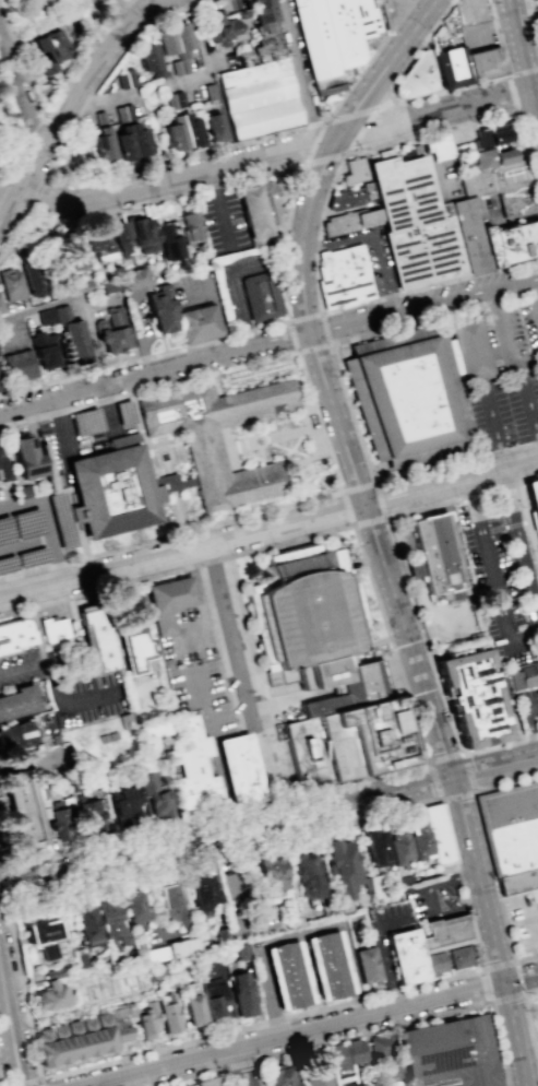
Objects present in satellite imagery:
road: (131, 3)
road: (524, 4)
road: (130, 10)
building: (394, 10)
parking lot: (537, 15)
road: (530, 20)
building: (267, 21)
building: (223, 26)
road: (493, 35)
parking lot: (477, 36)
building: (333, 38)
building: (175, 39)
road: (109, 48)
building: (48, 49)
road: (530, 54)
road: (20, 55)
road: (523, 58)
building: (151, 59)
road: (369, 60)
building: (483, 63)
building: (452, 66)
building: (180, 67)
road: (299, 71)
building: (415, 76)
road: (510, 79)
building: (127, 80)
building: (211, 91)
road: (22, 93)
road: (431, 95)
building: (258, 97)
building: (176, 101)
road: (536, 102)
railway: (58, 109)
road: (537, 113)
road: (324, 120)
road: (313, 123)
building: (215, 127)
building: (183, 132)
building: (130, 134)
building: (491, 135)
building: (101, 138)
road: (349, 146)
building: (440, 147)
road: (271, 154)
road: (27, 155)
road: (69, 166)
building: (355, 170)
road: (431, 172)
road: (32, 173)
road: (454, 173)
road: (260, 174)
parking lot: (445, 181)
road: (37, 188)
building: (505, 189)
building: (352, 194)
road: (220, 208)
building: (261, 209)
road: (101, 212)
road: (324, 212)
parking lot: (488, 212)
parking lot: (222, 222)
building: (352, 222)
building: (416, 223)
building: (190, 225)
road: (505, 225)
building: (143, 235)
building: (471, 235)
road: (374, 239)
building: (121, 240)
building: (168, 241)
building: (513, 243)
building: (99, 245)
building: (74, 251)
parking lot: (371, 257)
road: (492, 257)
building: (345, 276)
building: (32, 278)
building: (136, 280)
parking lot: (240, 284)
building: (12, 285)
building: (85, 285)
parking lot: (196, 290)
road: (533, 293)
road: (534, 294)
road: (240, 296)
road: (83, 298)
building: (263, 299)
road: (219, 304)
road: (425, 305)
building: (2, 307)
building: (165, 311)
building: (46, 316)
parking lot: (141, 320)
building: (202, 323)
road: (501, 327)
road: (9, 331)
building: (113, 331)
parking lot: (13, 334)
building: (72, 334)
road: (139, 334)
parking lot: (513, 335)
road: (224, 337)
building: (471, 347)
building: (43, 349)
road: (296, 352)
road: (524, 362)
building: (19, 365)
road: (338, 369)
road: (155, 373)
road: (489, 392)
building: (406, 398)
road: (104, 406)
parking lot: (505, 410)
parking lot: (505, 413)
road: (61, 423)
parking lot: (87, 434)
road: (475, 434)
building: (220, 439)
road: (326, 445)
fountain: (263, 446)
road: (509, 448)
road: (163, 455)
building: (29, 461)
building: (4, 469)
building: (56, 480)
road: (451, 486)
building: (117, 492)
building: (533, 500)
road: (48, 524)
road: (354, 524)
road: (371, 529)
parking lot: (31, 530)
road: (519, 546)
road: (182, 554)
building: (438, 556)
road: (57, 559)
parking lot: (501, 577)
road: (492, 580)
road: (122, 592)
road: (411, 597)
building: (171, 602)
parking lot: (128, 607)
road: (204, 615)
building: (310, 616)
building: (56, 630)
building: (16, 637)
building: (101, 638)
parking lot: (190, 639)
road: (41, 648)
building: (136, 649)
parking lot: (242, 664)
parking lot: (240, 666)
parking lot: (21, 670)
building: (524, 676)
road: (404, 683)
building: (359, 685)
road: (242, 687)
parking lot: (202, 697)
building: (474, 697)
building: (17, 700)
parking lot: (92, 700)
road: (64, 701)
parking lot: (528, 708)
building: (153, 728)
road: (529, 728)
building: (14, 734)
building: (383, 734)
building: (338, 745)
road: (214, 751)
building: (307, 753)
road: (495, 766)
building: (243, 768)
building: (194, 769)
building: (151, 795)
road: (442, 800)
building: (123, 806)
building: (22, 808)
building: (89, 815)
building: (60, 823)
road: (227, 833)
building: (441, 836)
building: (513, 838)
building: (418, 840)
building: (397, 845)
building: (376, 848)
road: (490, 857)
building: (342, 866)
building: (270, 872)
building: (306, 873)
road: (5, 887)
building: (201, 890)
parking lot: (434, 897)
parking lot: (244, 899)
building: (170, 904)
road: (434, 904)
road: (526, 904)
building: (133, 909)
building: (110, 921)
building: (84, 922)
parking lot: (524, 923)
road: (262, 925)
parking lot: (394, 926)
building: (220, 934)
building: (449, 934)
building: (41, 936)
building: (240, 951)
road: (390, 954)
building: (408, 956)
building: (461, 958)
building: (367, 964)
building: (327, 965)
building: (438, 965)
building: (53, 972)
building: (287, 975)
building: (241, 992)
building: (55, 996)
building: (213, 1000)
road: (489, 1001)
road: (5, 1006)
building: (191, 1008)
building: (165, 1012)
road: (13, 1017)
building: (145, 1017)
road: (402, 1024)
road: (528, 1025)
railway: (10, 1029)
road: (315, 1029)
road: (535, 1043)
building: (380, 1046)
road: (5, 1052)
building: (449, 1053)
building: (348, 1058)
road: (239, 1063)
road: (242, 1067)
building: (388, 1071)
road: (195, 1074)
building: (319, 1074)
building: (282, 1076)
road: (41, 1079)
road: (0, 1081)
building: (204, 1082)
road: (29, 1083)
building: (182, 1085)
building: (399, 1085)

